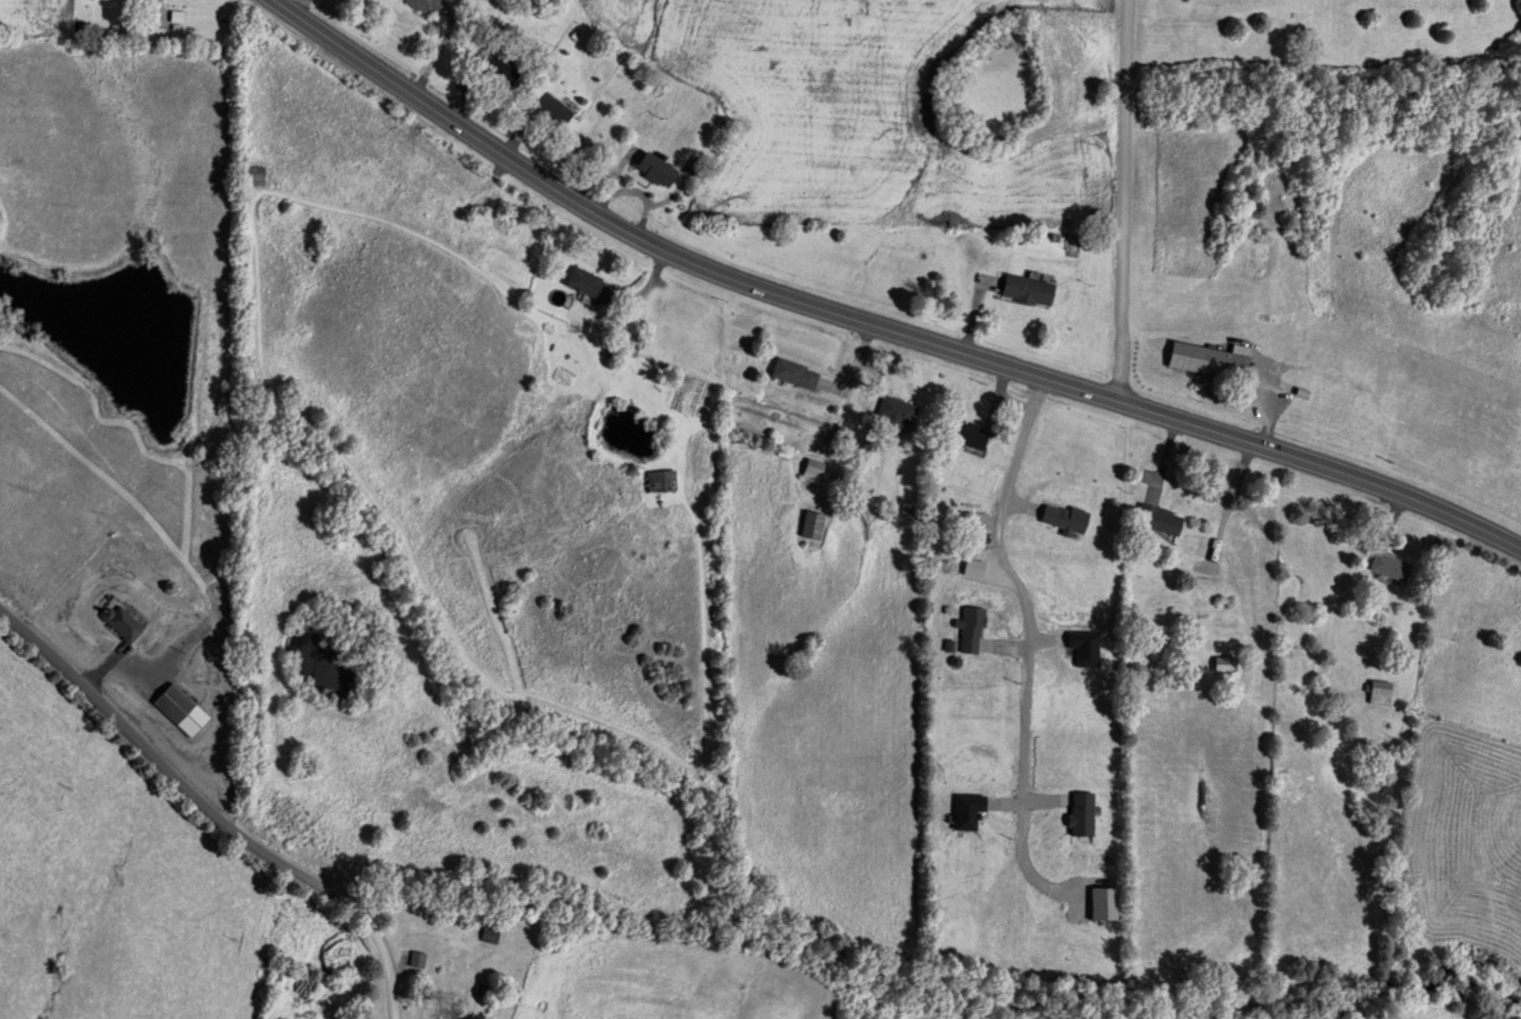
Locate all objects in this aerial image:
building: (431, 6)
building: (178, 15)
building: (498, 69)
building: (555, 109)
building: (657, 169)
building: (256, 175)
road: (1120, 200)
building: (591, 283)
building: (1029, 290)
road: (875, 323)
building: (1212, 359)
building: (795, 373)
building: (894, 410)
building: (970, 433)
building: (663, 480)
building: (1161, 517)
building: (814, 524)
building: (977, 525)
building: (1392, 565)
road: (1015, 584)
building: (123, 619)
building: (1226, 662)
building: (1382, 691)
building: (183, 708)
road: (200, 834)
building: (490, 934)
building: (314, 940)
building: (414, 955)
building: (452, 1006)

